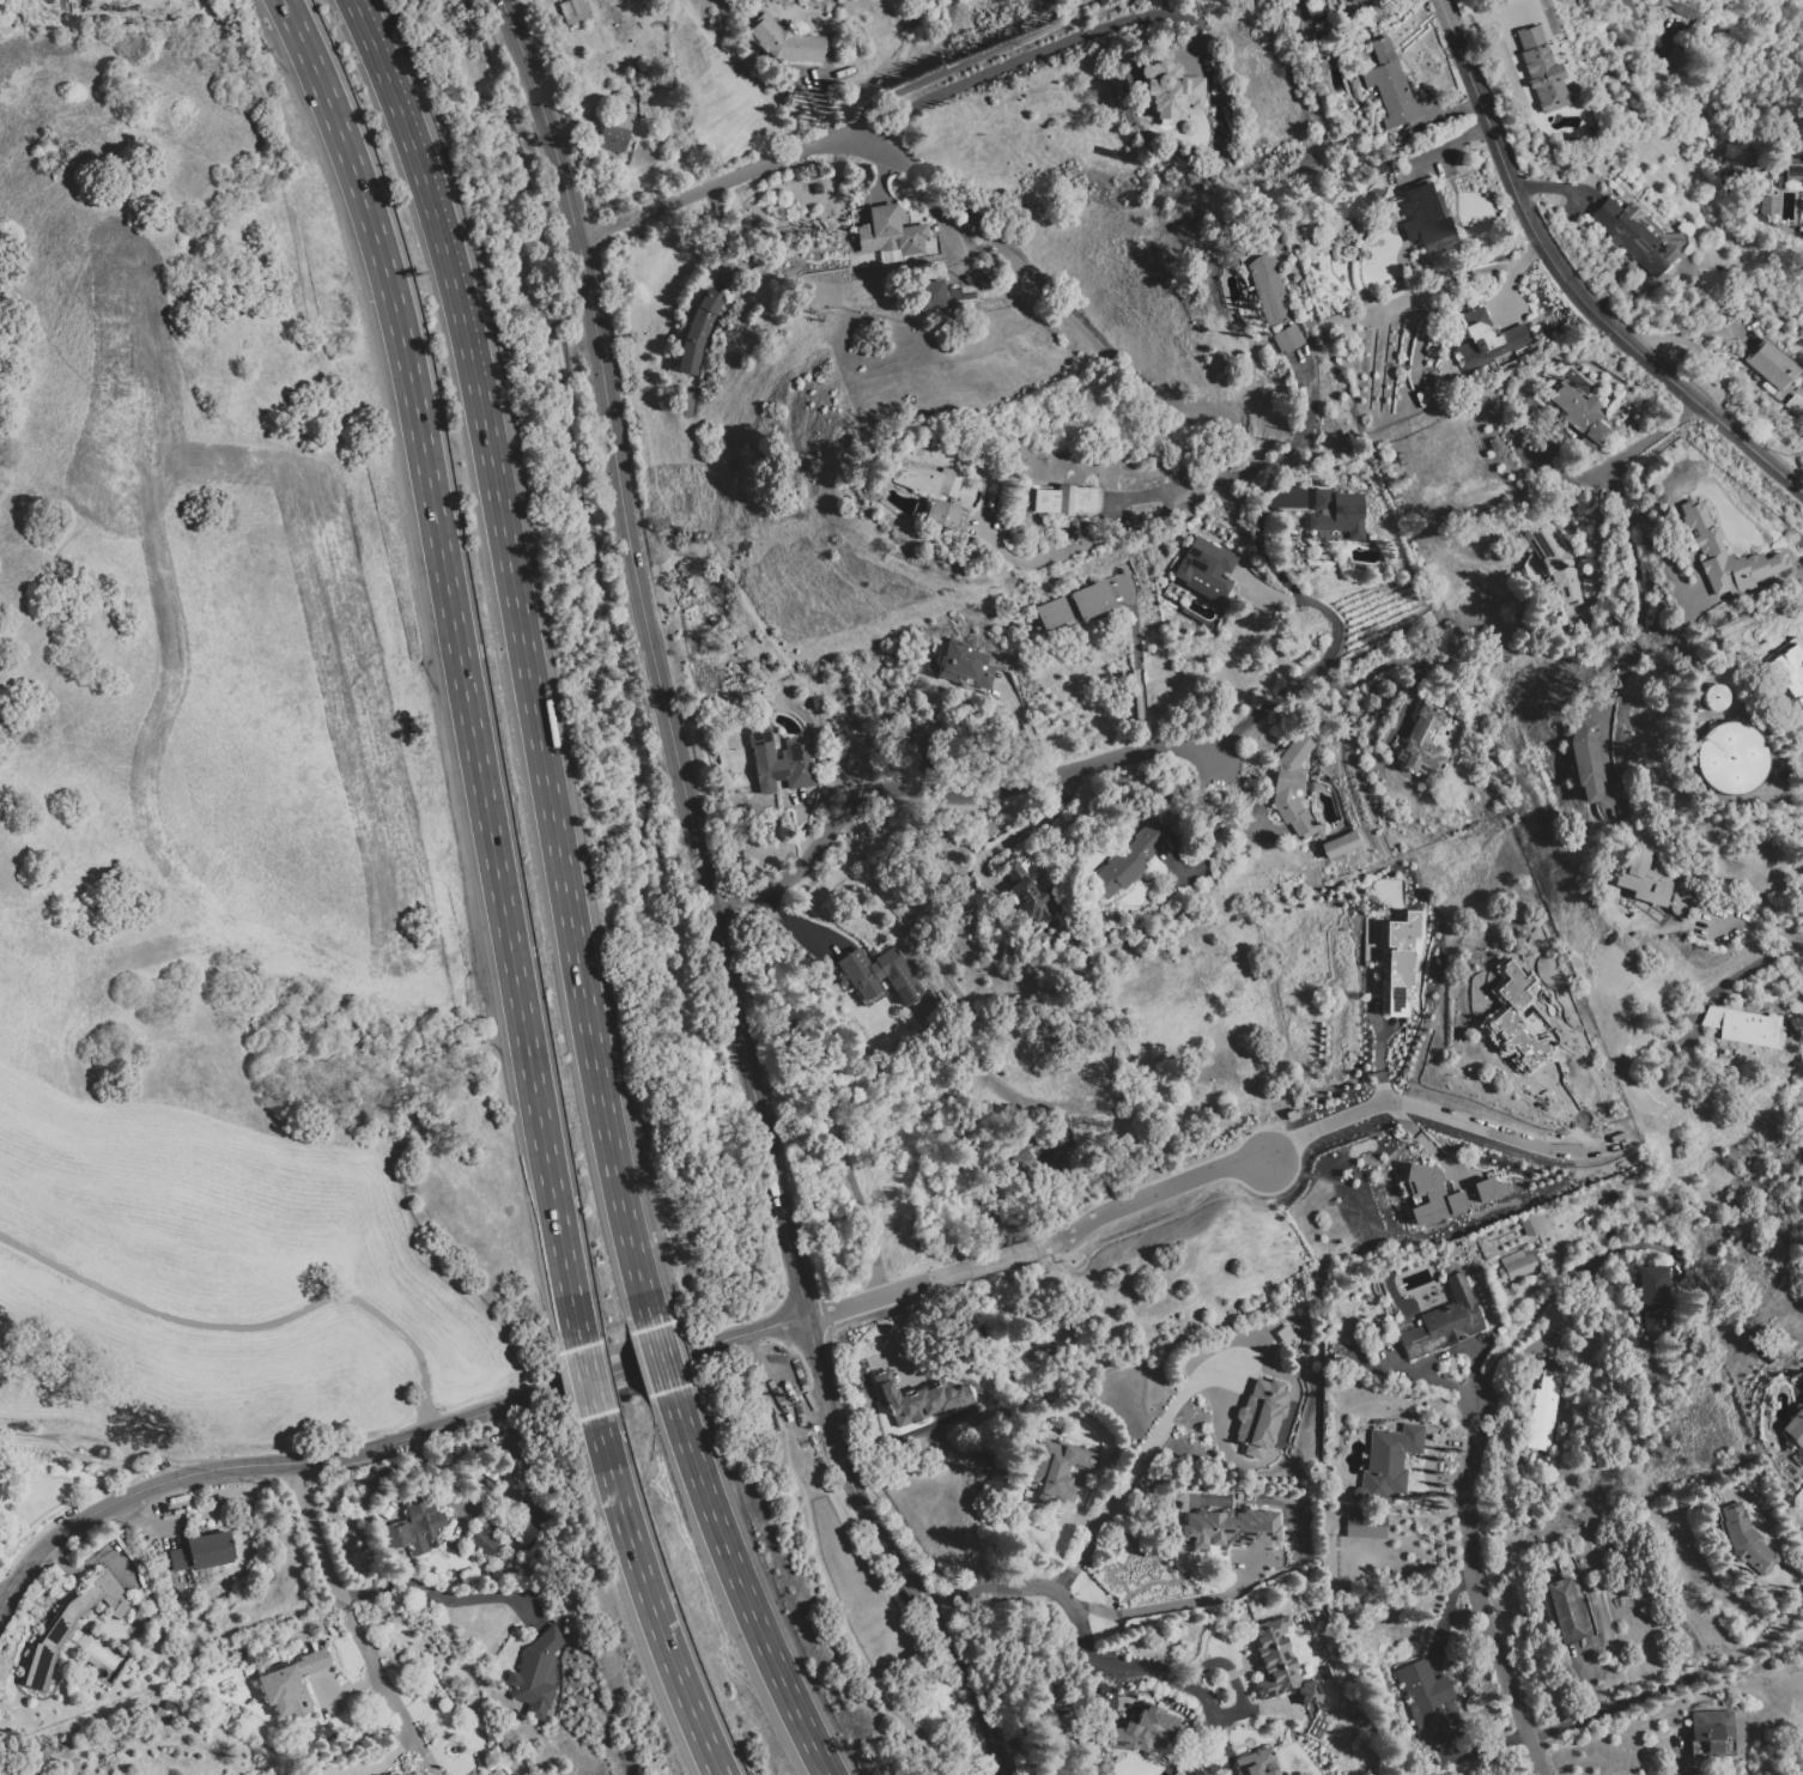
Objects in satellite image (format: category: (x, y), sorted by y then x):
building: (1356, 1)
building: (1677, 6)
building: (572, 11)
road: (1638, 25)
building: (783, 41)
road: (1012, 65)
building: (1542, 71)
building: (1390, 86)
building: (1170, 89)
building: (623, 99)
building: (617, 131)
building: (1793, 171)
road: (718, 184)
building: (1767, 205)
building: (1426, 220)
building: (1625, 228)
building: (890, 235)
building: (1667, 255)
road: (1571, 278)
building: (1269, 290)
building: (929, 295)
road: (1064, 314)
building: (698, 332)
building: (1287, 339)
building: (1488, 341)
building: (1771, 364)
building: (1422, 399)
building: (1574, 407)
building: (1596, 434)
building: (1582, 449)
road: (1559, 472)
building: (935, 481)
road: (1180, 501)
building: (1068, 502)
building: (942, 514)
building: (1336, 514)
building: (945, 532)
road: (1597, 539)
road: (1652, 539)
road: (1257, 544)
building: (1726, 555)
building: (1550, 563)
building: (1206, 568)
road: (1638, 584)
building: (1089, 600)
building: (1055, 612)
road: (528, 658)
road: (638, 658)
road: (1392, 661)
building: (965, 665)
road: (1136, 666)
road: (465, 667)
building: (1787, 670)
road: (1301, 680)
building: (1717, 697)
road: (1022, 737)
building: (1422, 741)
building: (1585, 758)
building: (1732, 758)
building: (781, 763)
building: (1292, 783)
road: (945, 789)
road: (1802, 792)
road: (801, 830)
road: (1025, 830)
road: (1206, 832)
building: (1340, 844)
building: (1128, 861)
building: (1028, 866)
building: (1645, 877)
building: (1028, 895)
road: (711, 902)
road: (789, 926)
building: (1400, 962)
building: (879, 976)
road: (1743, 976)
building: (1713, 1017)
building: (1513, 1020)
building: (1752, 1029)
road: (1378, 1056)
road: (1568, 1105)
road: (1321, 1128)
road: (1422, 1140)
building: (1489, 1189)
building: (1431, 1194)
road: (1001, 1258)
building: (1519, 1264)
building: (1501, 1276)
building: (1651, 1285)
road: (887, 1292)
road: (1549, 1295)
building: (1653, 1320)
building: (1444, 1321)
road: (253, 1327)
building: (1285, 1334)
road: (666, 1361)
building: (1550, 1381)
building: (1802, 1381)
road: (593, 1383)
building: (918, 1398)
road: (1174, 1401)
building: (1530, 1404)
building: (1259, 1416)
building: (1542, 1419)
building: (1795, 1428)
road: (387, 1443)
road: (127, 1446)
road: (79, 1456)
building: (1386, 1464)
building: (1057, 1470)
road: (305, 1510)
building: (415, 1527)
building: (1365, 1527)
building: (1228, 1528)
building: (524, 1531)
building: (488, 1532)
building: (1744, 1540)
building: (202, 1551)
road: (819, 1568)
road: (332, 1580)
road: (743, 1586)
road: (1058, 1588)
road: (5, 1589)
building: (113, 1593)
road: (1476, 1593)
road: (652, 1598)
road: (447, 1600)
building: (83, 1603)
road: (1172, 1604)
park: (870, 1610)
road: (1447, 1610)
building: (1565, 1611)
building: (60, 1630)
building: (1274, 1659)
building: (314, 1661)
road: (1224, 1664)
building: (41, 1666)
road: (1135, 1667)
building: (535, 1673)
road: (1686, 1679)
building: (1421, 1680)
building: (286, 1692)
building: (1307, 1692)
road: (1251, 1709)
building: (1434, 1719)
building: (1706, 1726)
building: (1728, 1726)
building: (1143, 1731)
building: (1713, 1747)
building: (1256, 1762)
road: (1531, 1769)
building: (497, 1771)
road: (1798, 1771)

